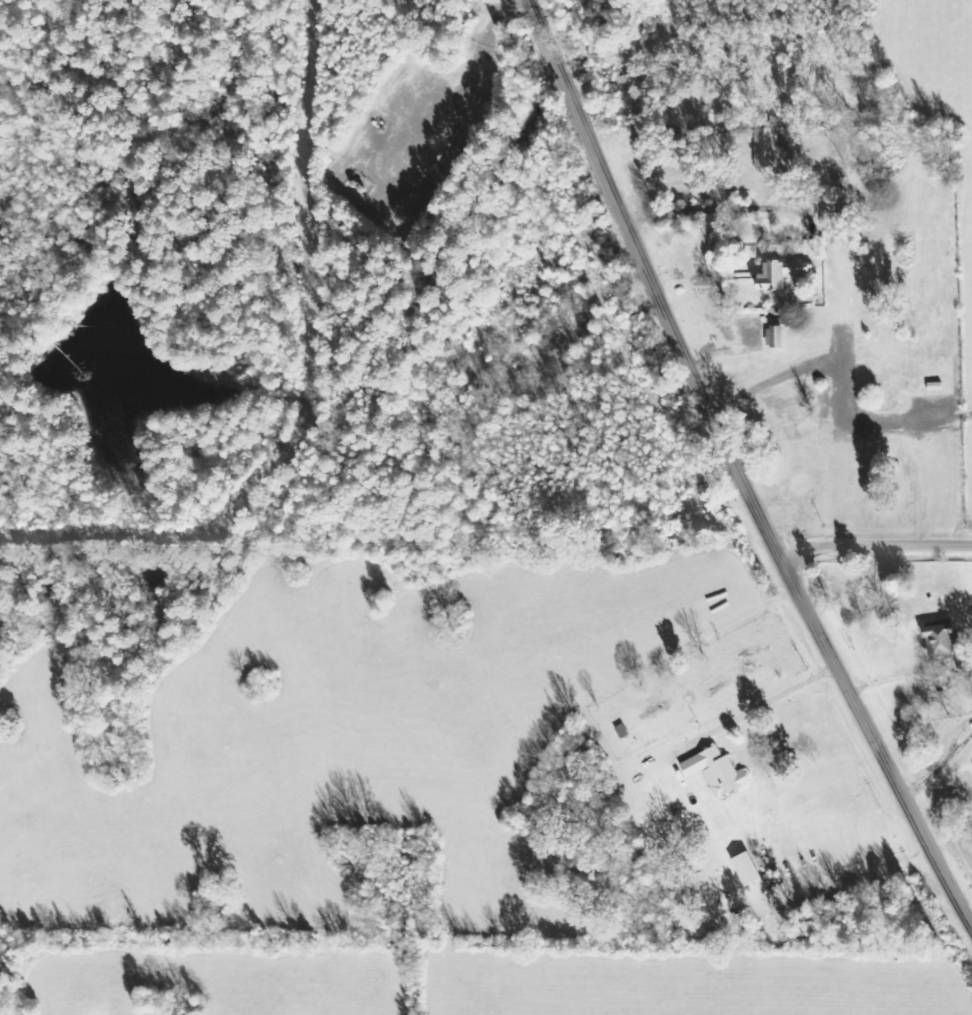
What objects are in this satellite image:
building: (777, 275)
building: (774, 335)
road: (736, 468)
road: (873, 540)
building: (937, 641)
building: (714, 770)
building: (744, 868)

